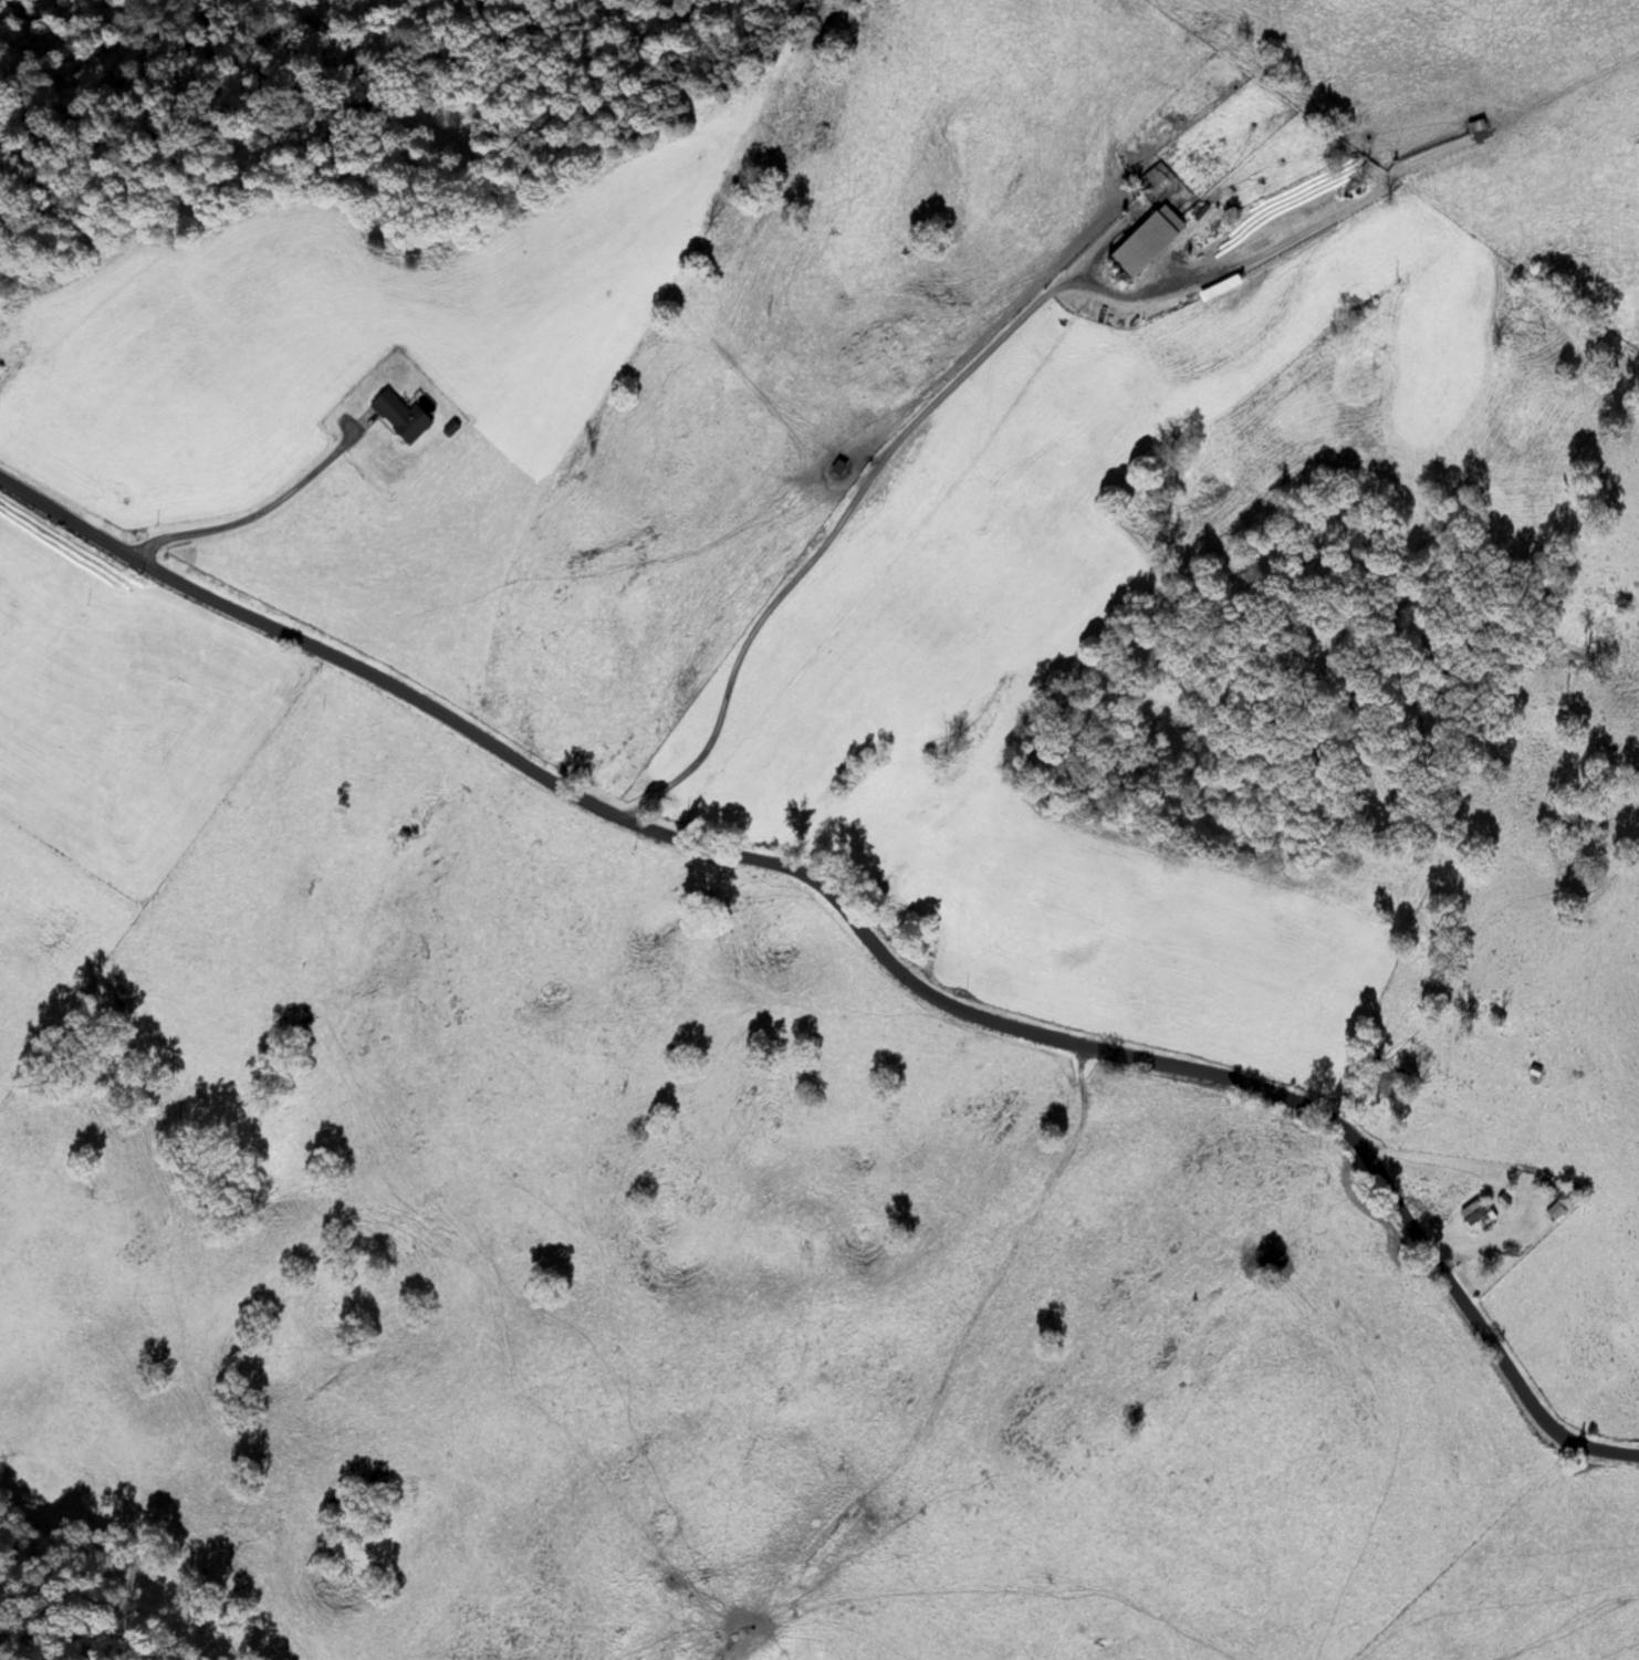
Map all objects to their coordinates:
building: (1152, 182)
building: (1142, 244)
building: (399, 417)
building: (837, 469)
road: (862, 936)
building: (1562, 1204)
building: (1475, 1219)

